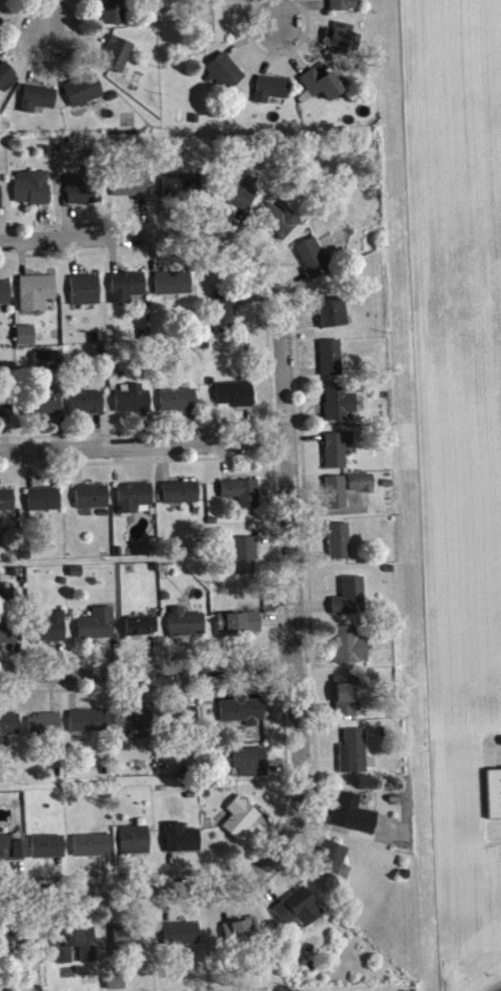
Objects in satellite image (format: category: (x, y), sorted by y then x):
building: (344, 7)
road: (277, 13)
building: (114, 14)
road: (45, 15)
building: (214, 27)
building: (343, 44)
building: (118, 59)
building: (226, 76)
building: (7, 81)
building: (323, 89)
building: (85, 95)
building: (273, 95)
building: (39, 102)
building: (134, 190)
building: (181, 190)
building: (33, 192)
building: (84, 196)
building: (240, 197)
building: (1, 202)
building: (280, 225)
road: (158, 234)
building: (313, 262)
building: (174, 289)
building: (128, 291)
building: (86, 294)
building: (37, 297)
building: (333, 317)
building: (225, 321)
building: (27, 340)
building: (332, 363)
building: (50, 364)
building: (235, 398)
building: (134, 405)
building: (179, 405)
building: (88, 407)
building: (340, 408)
building: (46, 409)
building: (7, 410)
road: (141, 447)
building: (338, 454)
building: (362, 488)
building: (181, 497)
building: (242, 497)
building: (336, 497)
building: (92, 501)
building: (134, 502)
building: (45, 504)
building: (7, 505)
building: (340, 546)
building: (245, 560)
road: (289, 578)
building: (351, 602)
building: (186, 627)
building: (240, 627)
building: (98, 629)
building: (142, 630)
building: (52, 632)
building: (9, 638)
building: (351, 651)
road: (146, 671)
building: (346, 700)
building: (243, 716)
building: (134, 723)
building: (89, 726)
building: (46, 729)
building: (355, 757)
building: (250, 767)
building: (495, 798)
building: (355, 819)
building: (241, 822)
building: (183, 843)
building: (135, 845)
building: (93, 850)
building: (49, 851)
building: (13, 852)
building: (333, 862)
road: (150, 887)
building: (300, 913)
building: (243, 934)
building: (182, 939)
building: (136, 943)
building: (14, 945)
building: (76, 949)
building: (117, 984)
road: (500, 990)

